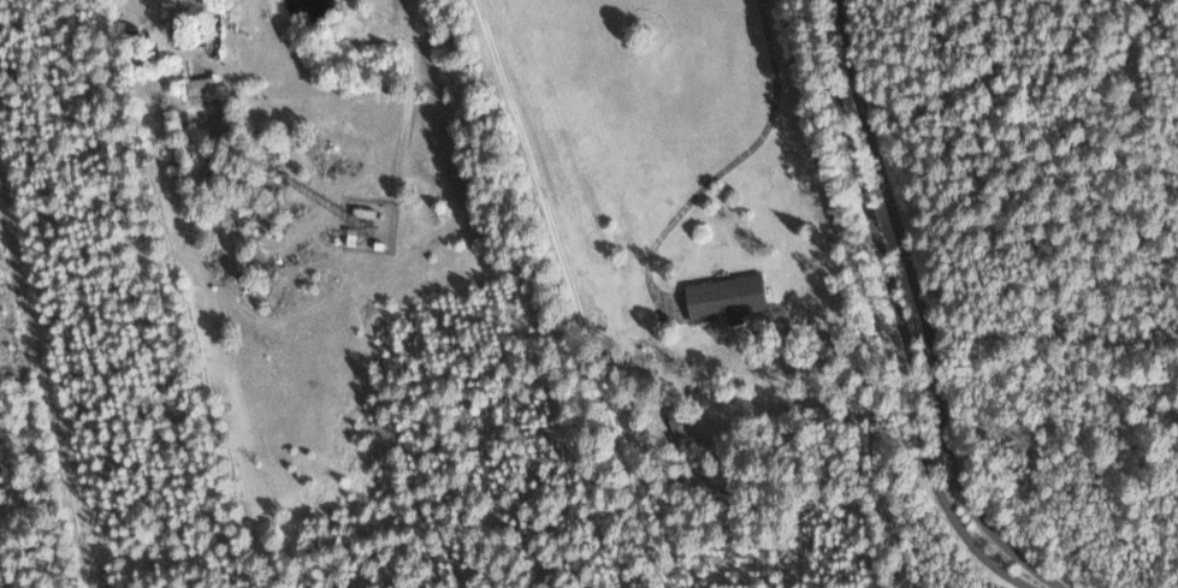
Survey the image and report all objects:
building: (218, 29)
building: (205, 85)
building: (720, 297)
road: (900, 313)

